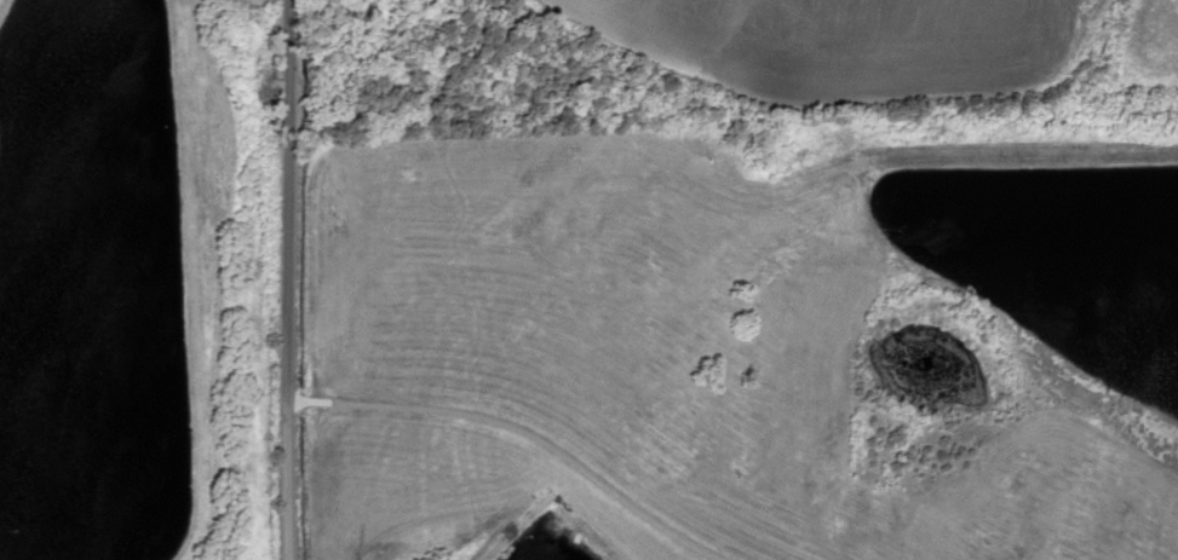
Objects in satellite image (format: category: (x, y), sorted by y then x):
road: (282, 279)

